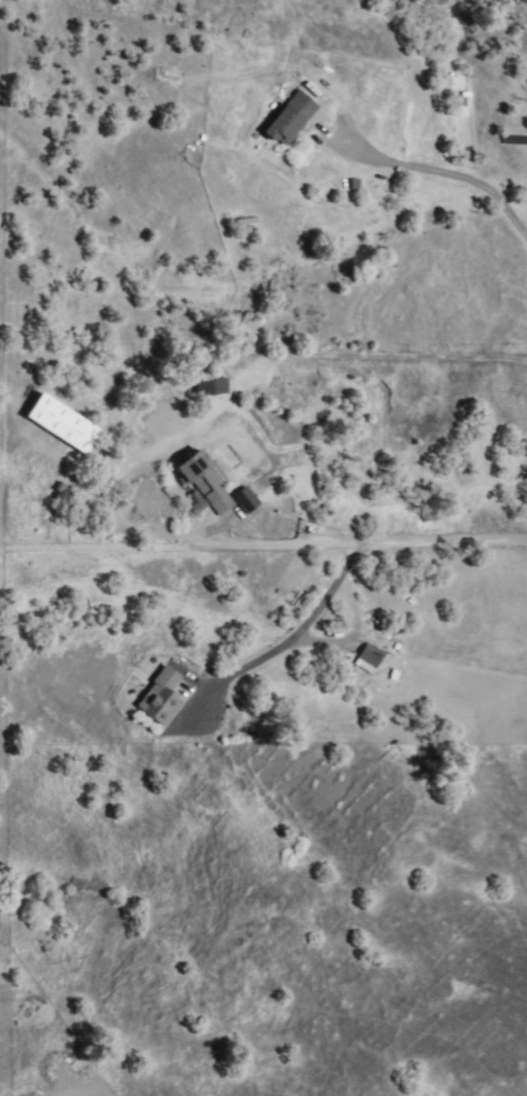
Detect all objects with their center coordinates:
building: (290, 120)
road: (448, 175)
building: (205, 388)
building: (205, 483)
building: (247, 501)
building: (394, 525)
road: (308, 530)
road: (344, 564)
building: (371, 657)
building: (161, 698)

